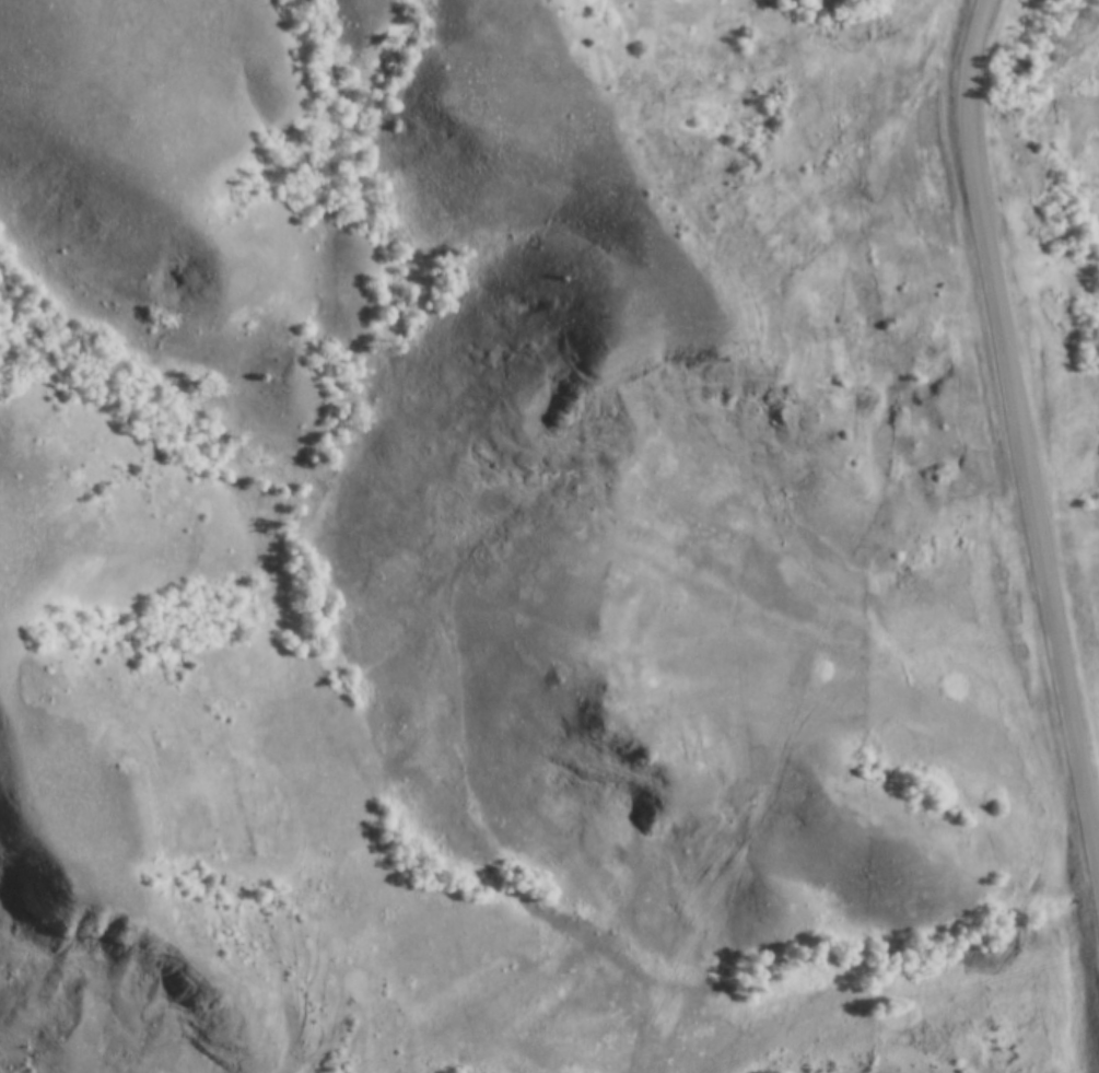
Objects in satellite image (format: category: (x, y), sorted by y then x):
road: (1020, 425)
road: (673, 969)

